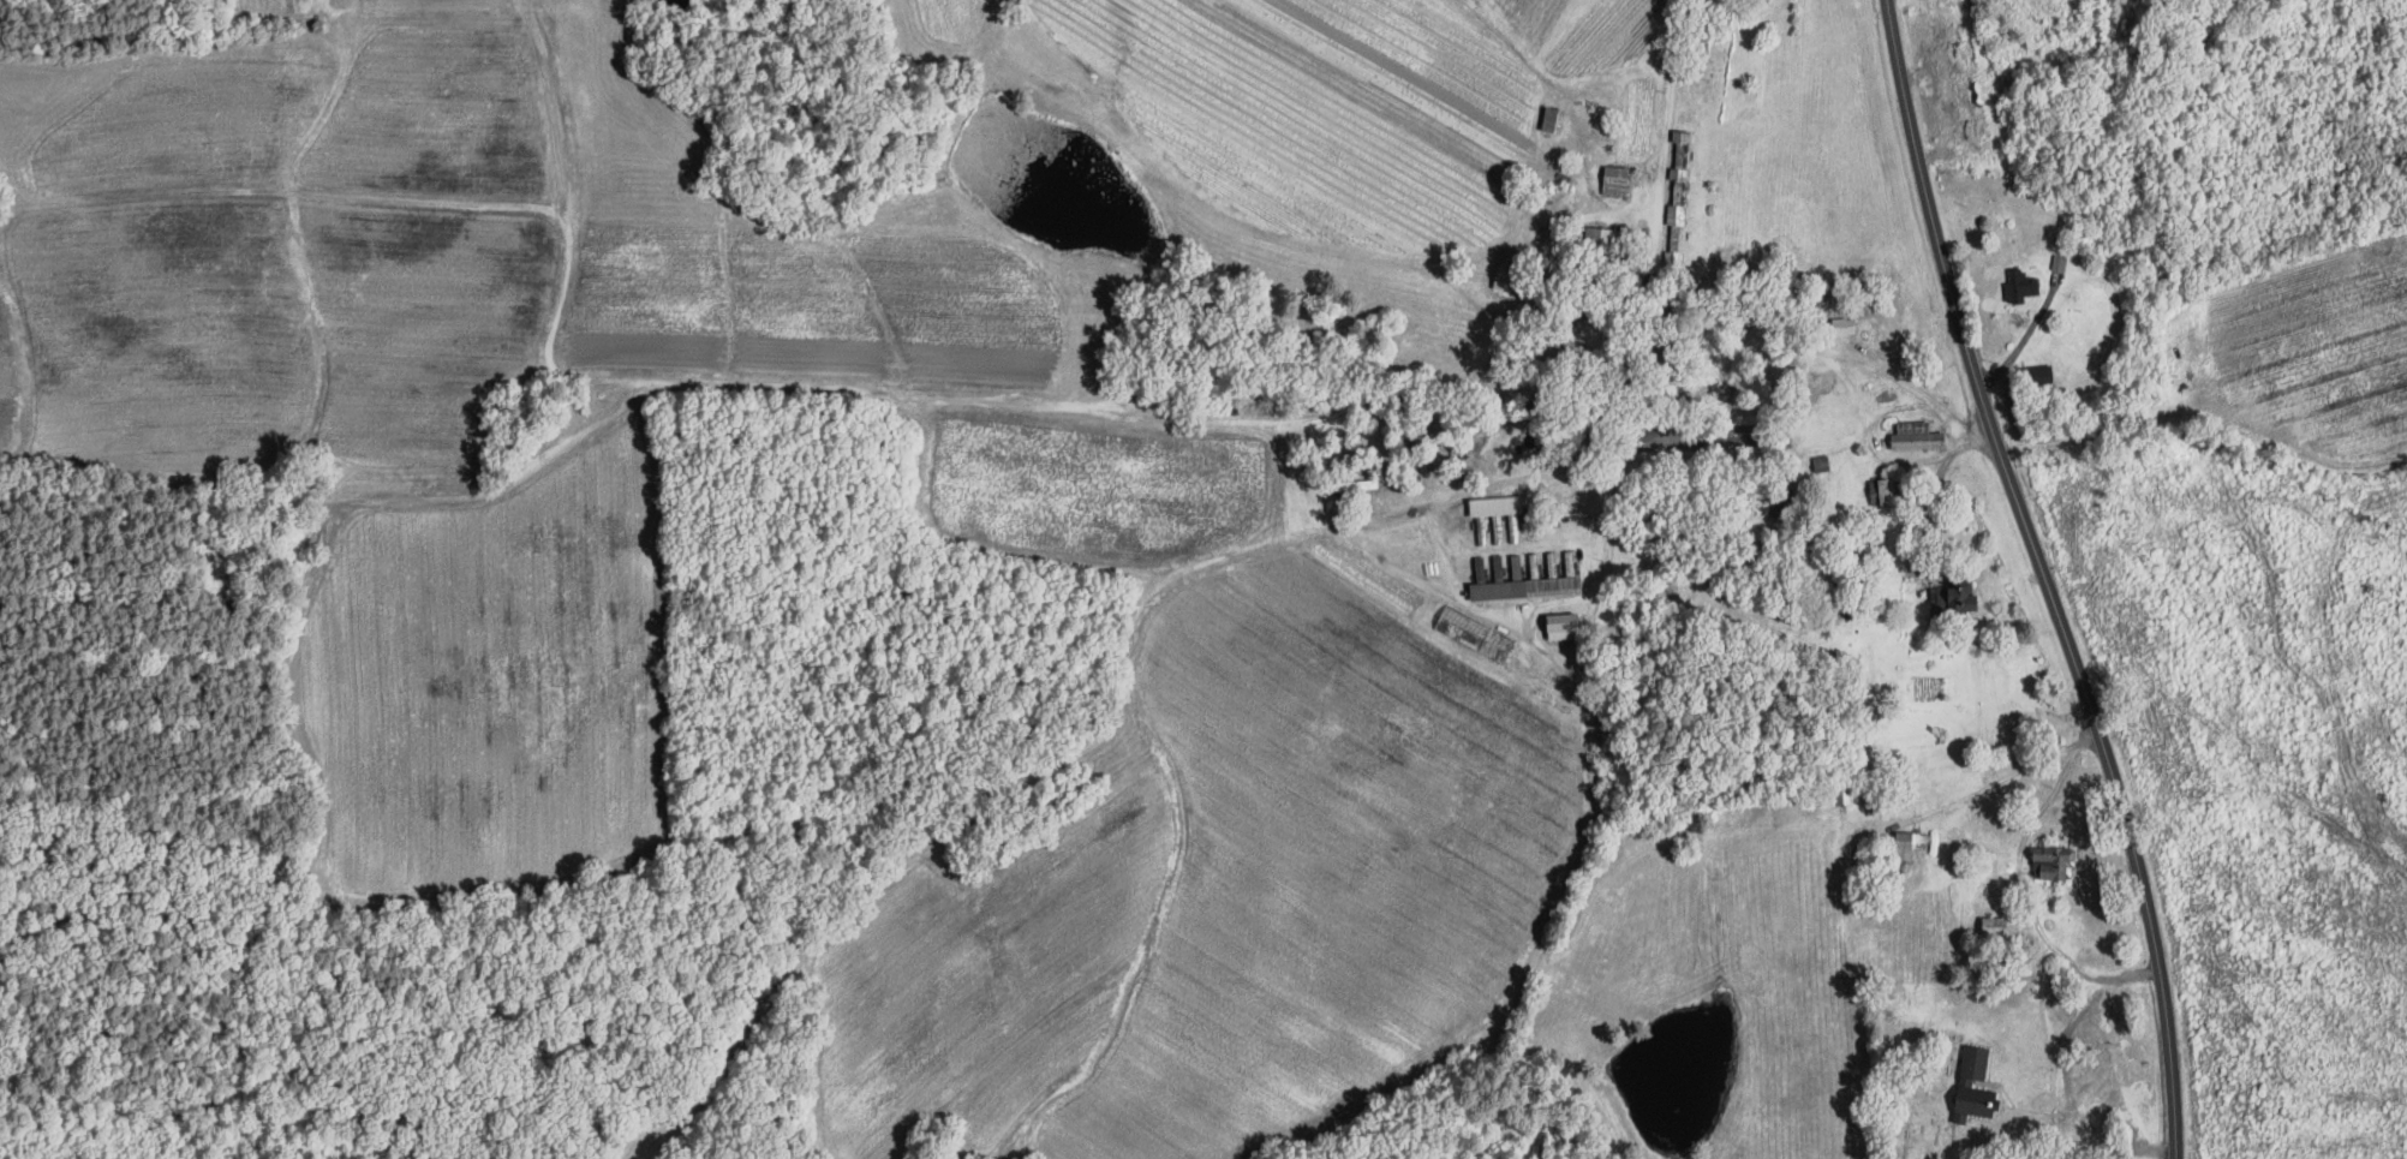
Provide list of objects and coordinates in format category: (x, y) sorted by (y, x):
building: (1555, 117)
building: (1618, 179)
building: (1679, 195)
building: (2060, 261)
building: (1509, 269)
building: (2023, 283)
road: (1697, 309)
building: (1915, 434)
building: (1886, 490)
road: (1934, 495)
building: (1500, 504)
building: (1518, 566)
building: (1501, 567)
road: (2041, 574)
building: (1530, 585)
building: (1955, 595)
building: (1567, 625)
building: (1476, 634)
road: (1999, 779)
building: (1915, 842)
building: (2056, 861)
building: (1996, 925)
building: (1969, 1082)

